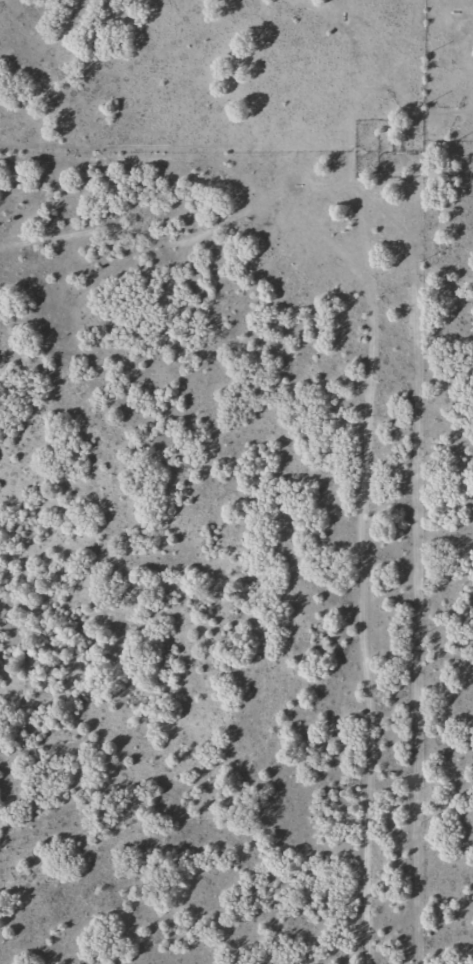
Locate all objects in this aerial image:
road: (274, 211)
road: (379, 572)

